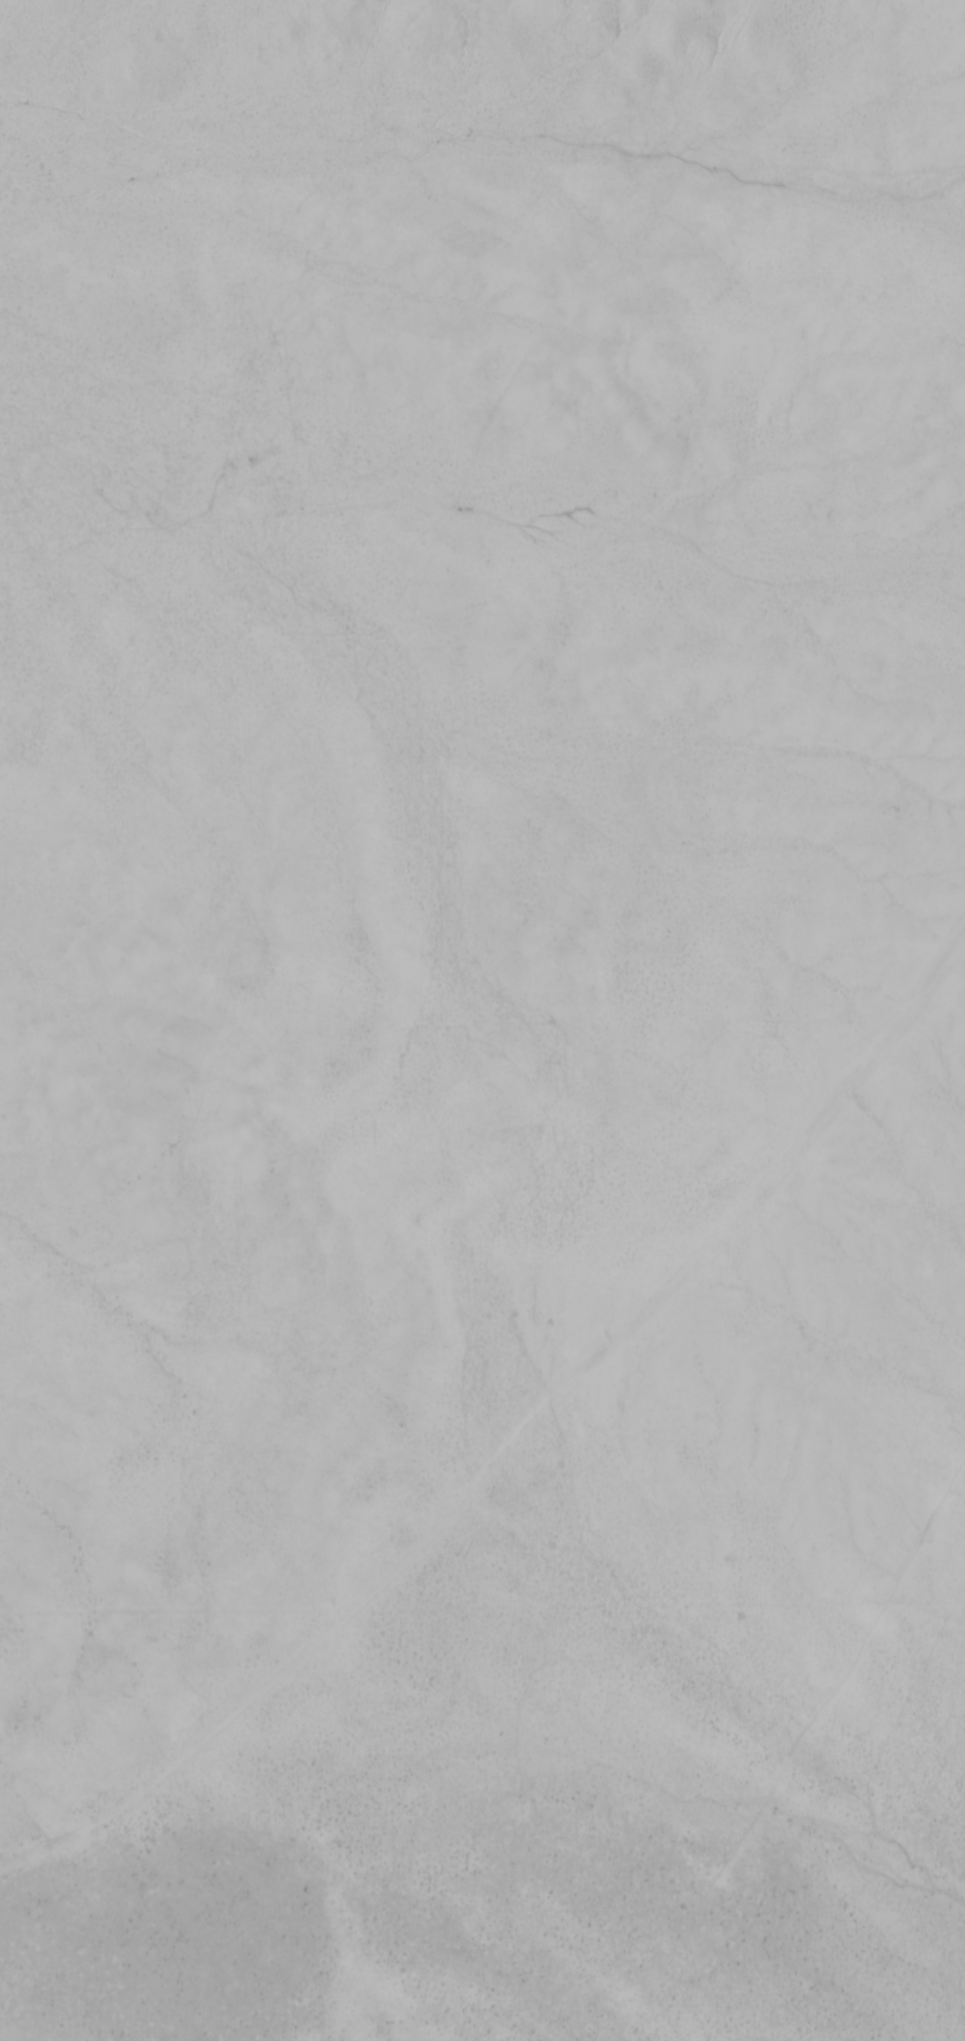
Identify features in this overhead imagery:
road: (331, 478)

